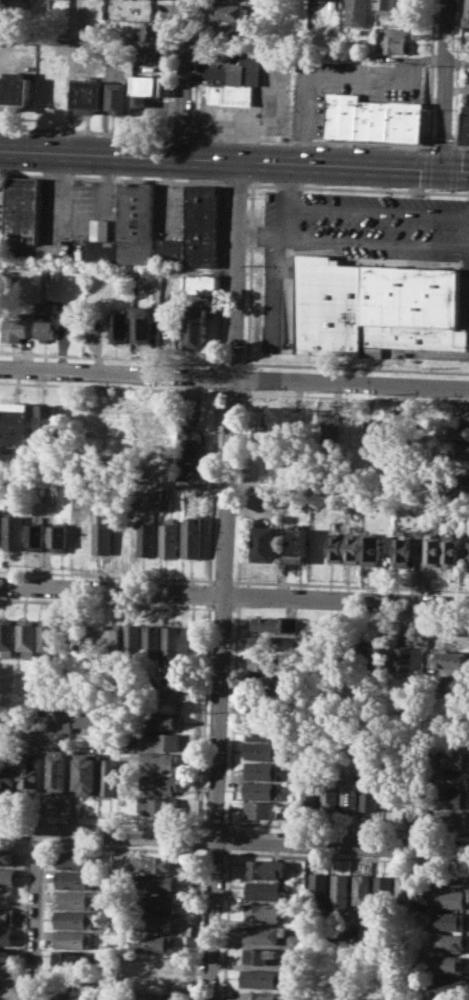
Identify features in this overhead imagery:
building: (331, 0)
building: (389, 6)
building: (300, 10)
building: (228, 13)
building: (360, 13)
building: (468, 13)
building: (153, 32)
building: (231, 33)
building: (396, 39)
road: (234, 47)
building: (150, 56)
road: (195, 67)
road: (432, 72)
road: (458, 73)
road: (183, 78)
building: (237, 83)
road: (445, 84)
building: (148, 87)
building: (15, 89)
building: (89, 95)
building: (119, 97)
building: (51, 100)
building: (344, 114)
building: (375, 119)
building: (406, 121)
building: (465, 124)
road: (85, 130)
road: (180, 135)
road: (310, 140)
road: (442, 144)
road: (461, 147)
road: (234, 159)
road: (423, 169)
traffic signals: (442, 169)
road: (454, 170)
road: (113, 176)
road: (237, 182)
road: (290, 184)
road: (358, 189)
road: (376, 208)
building: (22, 211)
road: (281, 221)
building: (128, 229)
building: (196, 230)
road: (257, 237)
road: (374, 241)
parking lot: (355, 244)
road: (219, 274)
building: (43, 276)
road: (248, 276)
building: (201, 284)
road: (277, 289)
building: (372, 307)
building: (46, 319)
building: (118, 324)
building: (17, 326)
building: (141, 327)
building: (195, 327)
building: (374, 352)
road: (110, 357)
road: (230, 362)
road: (354, 367)
road: (216, 377)
road: (245, 378)
road: (234, 379)
road: (110, 386)
road: (229, 391)
road: (353, 397)
building: (462, 414)
building: (275, 417)
building: (47, 421)
building: (15, 423)
building: (330, 429)
building: (456, 431)
building: (369, 442)
building: (190, 445)
building: (461, 449)
building: (462, 465)
building: (276, 473)
building: (462, 482)
road: (211, 485)
road: (241, 485)
road: (302, 488)
road: (225, 498)
building: (269, 500)
building: (165, 503)
building: (13, 531)
building: (101, 532)
building: (36, 536)
building: (147, 537)
building: (169, 537)
building: (57, 538)
building: (192, 539)
building: (261, 543)
building: (296, 544)
building: (334, 547)
building: (351, 547)
building: (369, 550)
building: (401, 551)
building: (432, 551)
building: (449, 552)
building: (466, 552)
road: (105, 574)
road: (220, 579)
road: (349, 585)
road: (207, 592)
road: (237, 594)
road: (234, 595)
road: (105, 602)
road: (236, 605)
road: (220, 607)
building: (275, 624)
building: (6, 637)
building: (25, 637)
building: (47, 638)
building: (113, 638)
building: (132, 638)
building: (152, 640)
building: (172, 640)
building: (192, 640)
building: (266, 643)
building: (363, 654)
building: (380, 657)
building: (453, 659)
building: (402, 660)
building: (265, 663)
building: (454, 682)
building: (267, 684)
building: (296, 692)
building: (263, 705)
road: (202, 714)
road: (232, 714)
building: (63, 719)
building: (165, 721)
building: (265, 732)
building: (163, 741)
building: (264, 751)
building: (455, 758)
building: (161, 761)
building: (30, 770)
building: (262, 770)
building: (58, 771)
building: (87, 772)
building: (111, 776)
building: (8, 777)
building: (453, 778)
building: (160, 783)
building: (260, 790)
building: (310, 793)
building: (329, 794)
building: (349, 795)
building: (369, 795)
building: (454, 799)
building: (159, 805)
building: (260, 809)
road: (99, 814)
building: (413, 816)
building: (451, 820)
road: (213, 822)
road: (199, 824)
road: (225, 825)
road: (348, 827)
road: (106, 831)
road: (198, 835)
road: (225, 838)
road: (16, 842)
road: (340, 842)
road: (37, 844)
road: (123, 847)
road: (225, 850)
road: (212, 852)
building: (7, 856)
road: (344, 858)
building: (78, 859)
building: (153, 864)
building: (264, 867)
building: (8, 876)
building: (448, 876)
building: (77, 879)
building: (422, 879)
building: (155, 883)
building: (262, 889)
building: (315, 890)
building: (358, 890)
building: (379, 890)
building: (336, 891)
building: (401, 891)
building: (446, 898)
building: (75, 899)
building: (155, 902)
building: (261, 911)
road: (34, 914)
building: (8, 915)
building: (75, 918)
road: (209, 918)
building: (446, 919)
road: (27, 921)
road: (42, 922)
building: (154, 922)
road: (195, 923)
road: (226, 926)
building: (262, 933)
building: (371, 933)
building: (329, 935)
building: (6, 936)
building: (73, 938)
building: (293, 941)
building: (445, 941)
building: (152, 942)
building: (6, 954)
building: (258, 954)
building: (71, 957)
building: (291, 964)
building: (444, 964)
building: (6, 974)
building: (261, 977)
building: (444, 985)
building: (6, 993)
building: (71, 994)
building: (260, 995)
building: (149, 996)

